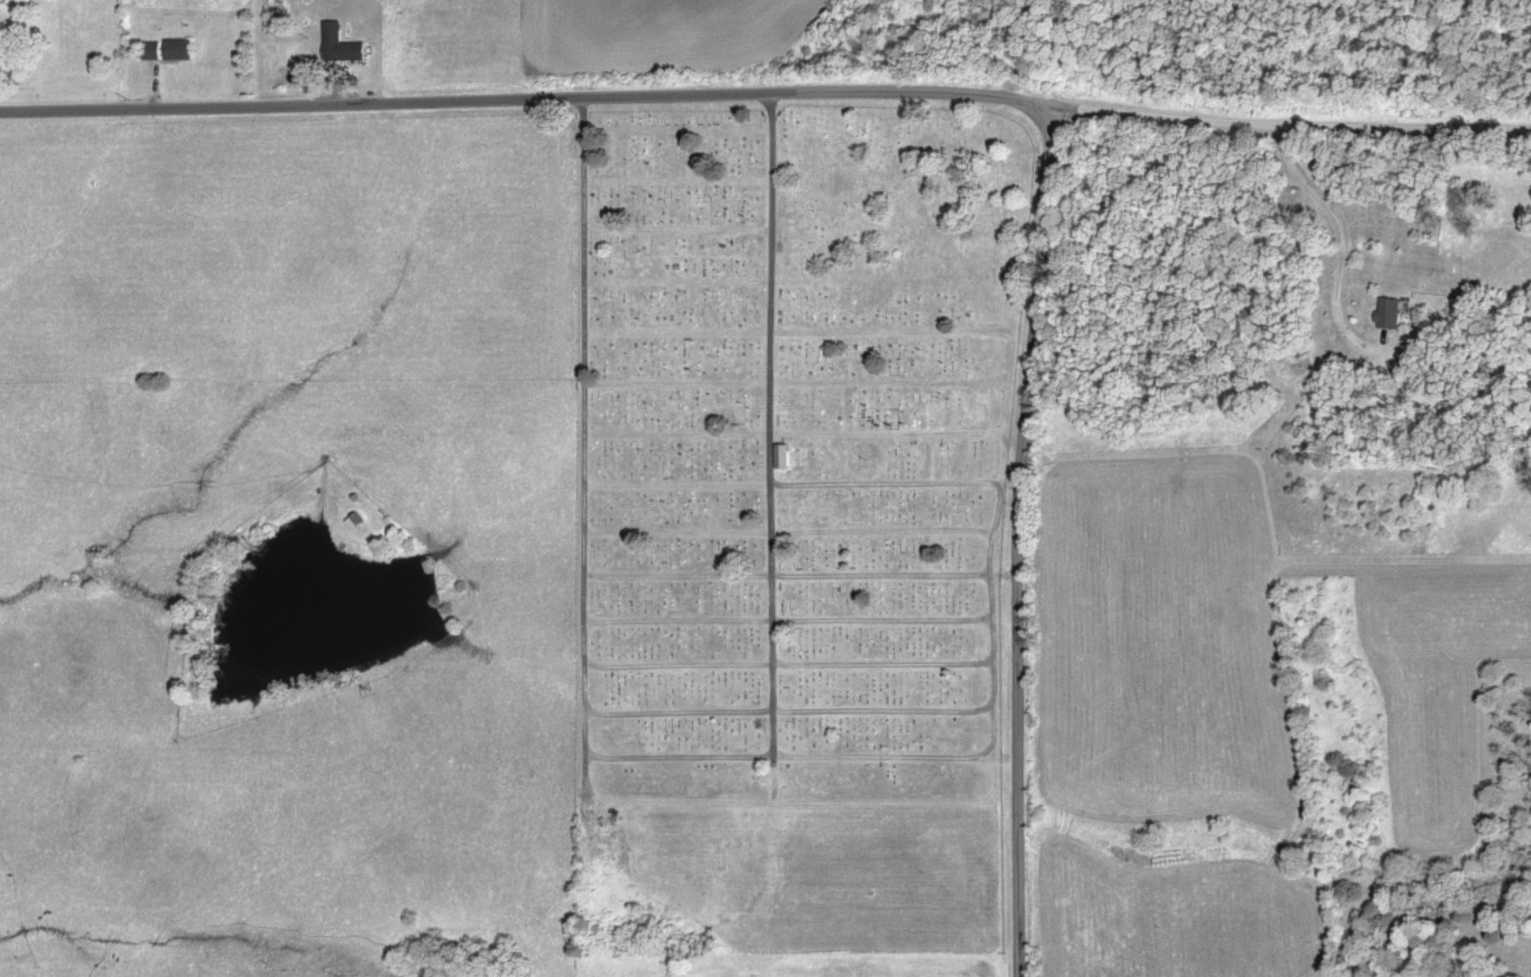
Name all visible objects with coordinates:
building: (343, 46)
building: (169, 51)
road: (766, 94)
road: (1345, 245)
building: (1391, 315)
building: (785, 458)
park: (796, 512)
road: (1016, 542)

